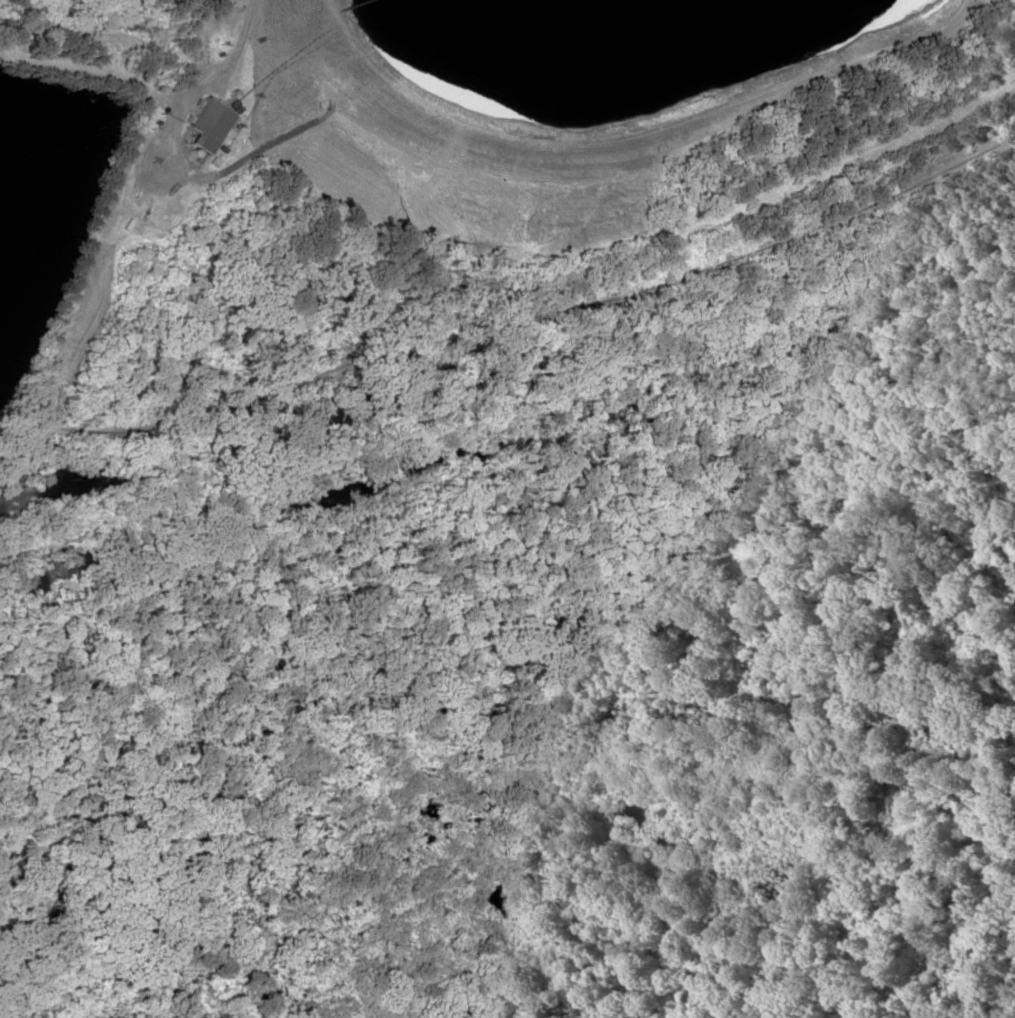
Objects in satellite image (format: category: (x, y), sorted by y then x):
road: (218, 64)
building: (204, 125)

